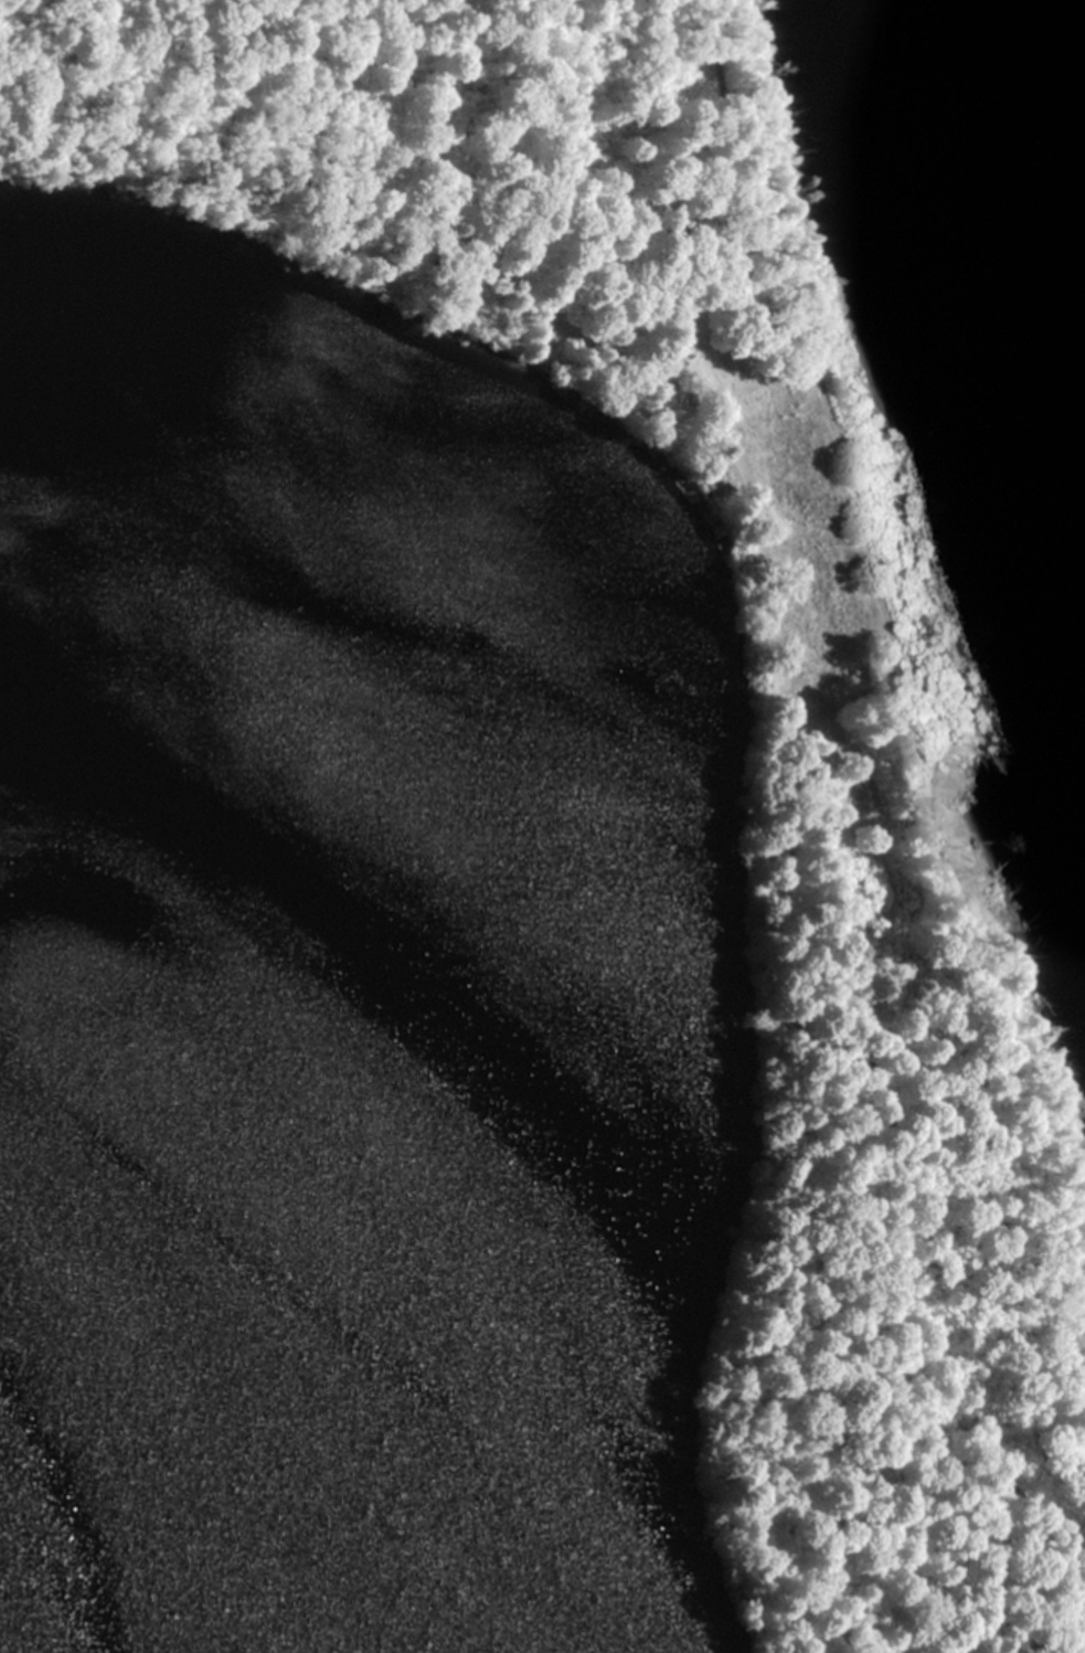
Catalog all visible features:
road: (215, 86)
building: (818, 549)
building: (811, 681)
road: (787, 756)
building: (860, 792)

